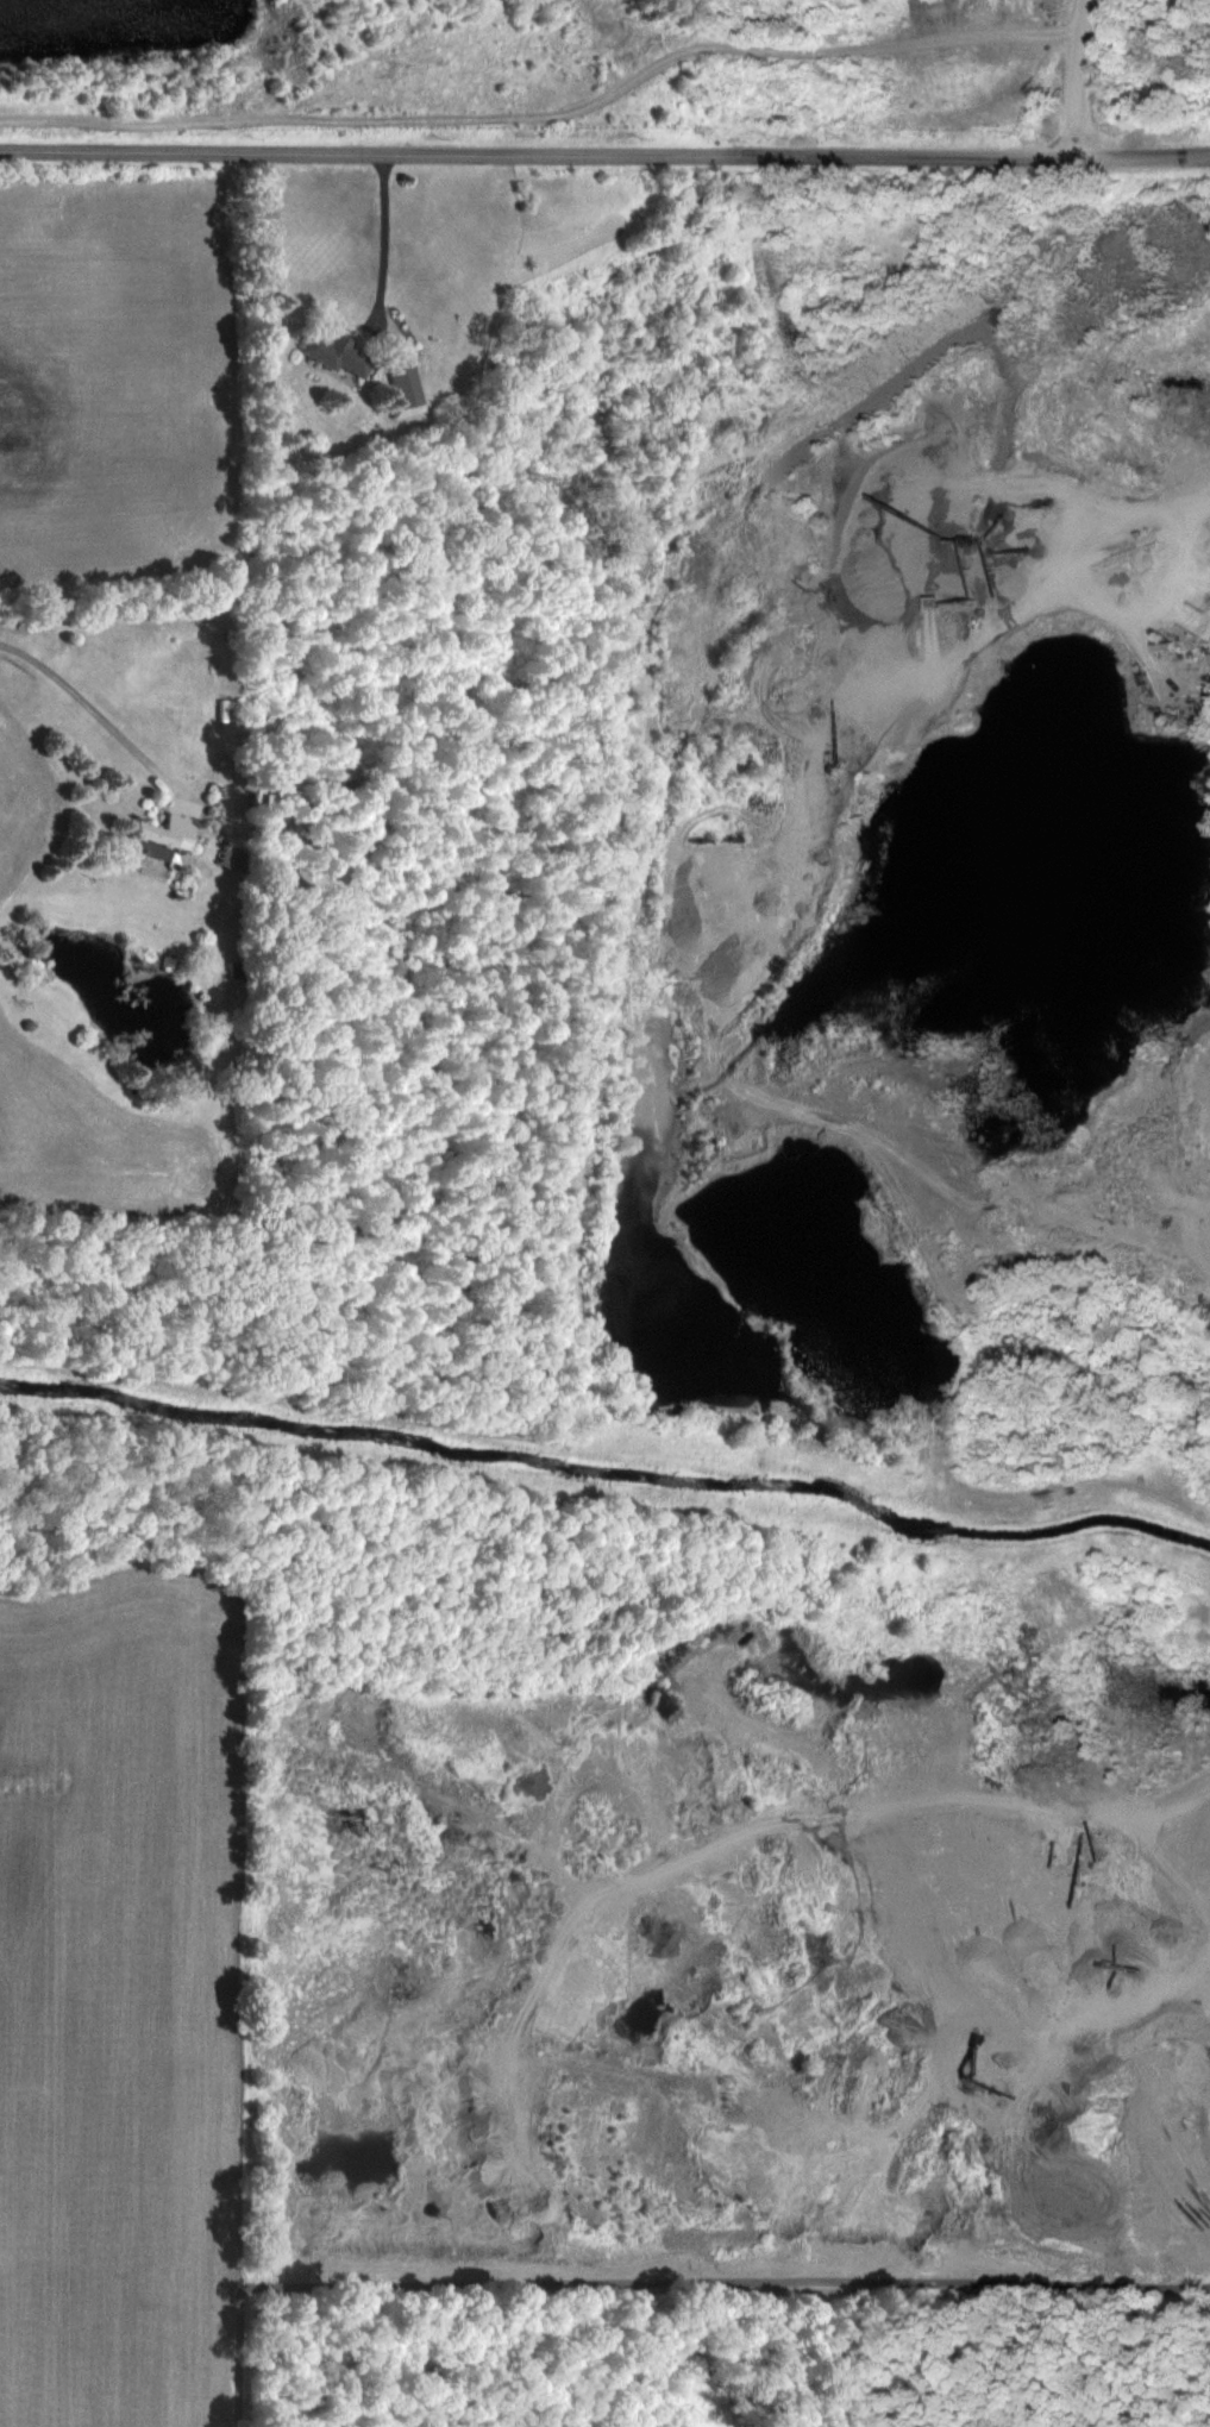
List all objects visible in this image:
quarry: (596, 43)
road: (1086, 77)
road: (554, 118)
road: (604, 153)
road: (382, 234)
building: (336, 352)
building: (403, 391)
road: (1151, 512)
road: (106, 715)
building: (170, 834)

